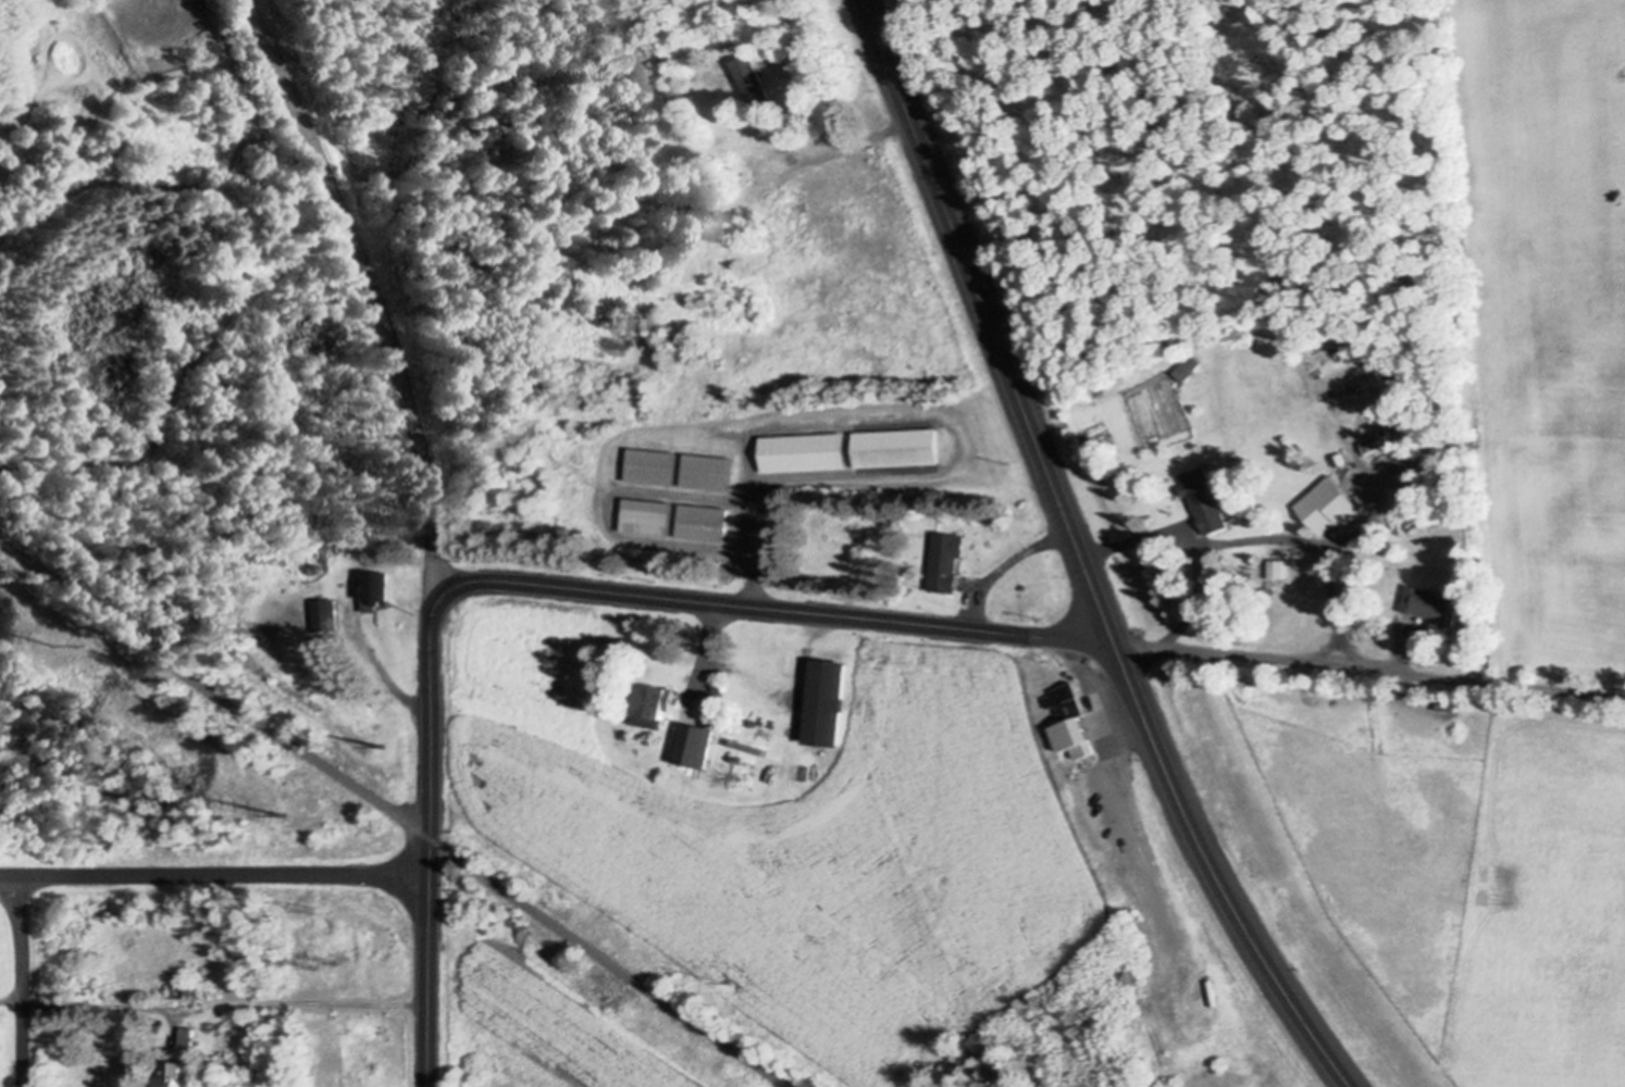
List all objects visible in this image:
building: (753, 82)
road: (828, 147)
building: (791, 208)
road: (371, 278)
park: (183, 309)
building: (1189, 364)
building: (896, 447)
building: (804, 451)
building: (653, 465)
building: (709, 471)
building: (1205, 498)
building: (1330, 505)
building: (647, 516)
building: (704, 522)
road: (753, 534)
road: (1191, 540)
road: (1313, 546)
road: (1078, 558)
building: (947, 562)
road: (1004, 565)
road: (518, 583)
building: (375, 591)
building: (1430, 603)
road: (707, 641)
power tower: (44, 646)
road: (1402, 652)
road: (1365, 665)
road: (379, 674)
road: (214, 690)
building: (654, 700)
building: (830, 702)
building: (1072, 721)
power tower: (388, 748)
park: (142, 769)
power tower: (290, 813)
road: (214, 873)
road: (611, 962)
road: (16, 979)
power tower: (730, 979)
building: (185, 985)
road: (214, 1004)
building: (172, 1074)

